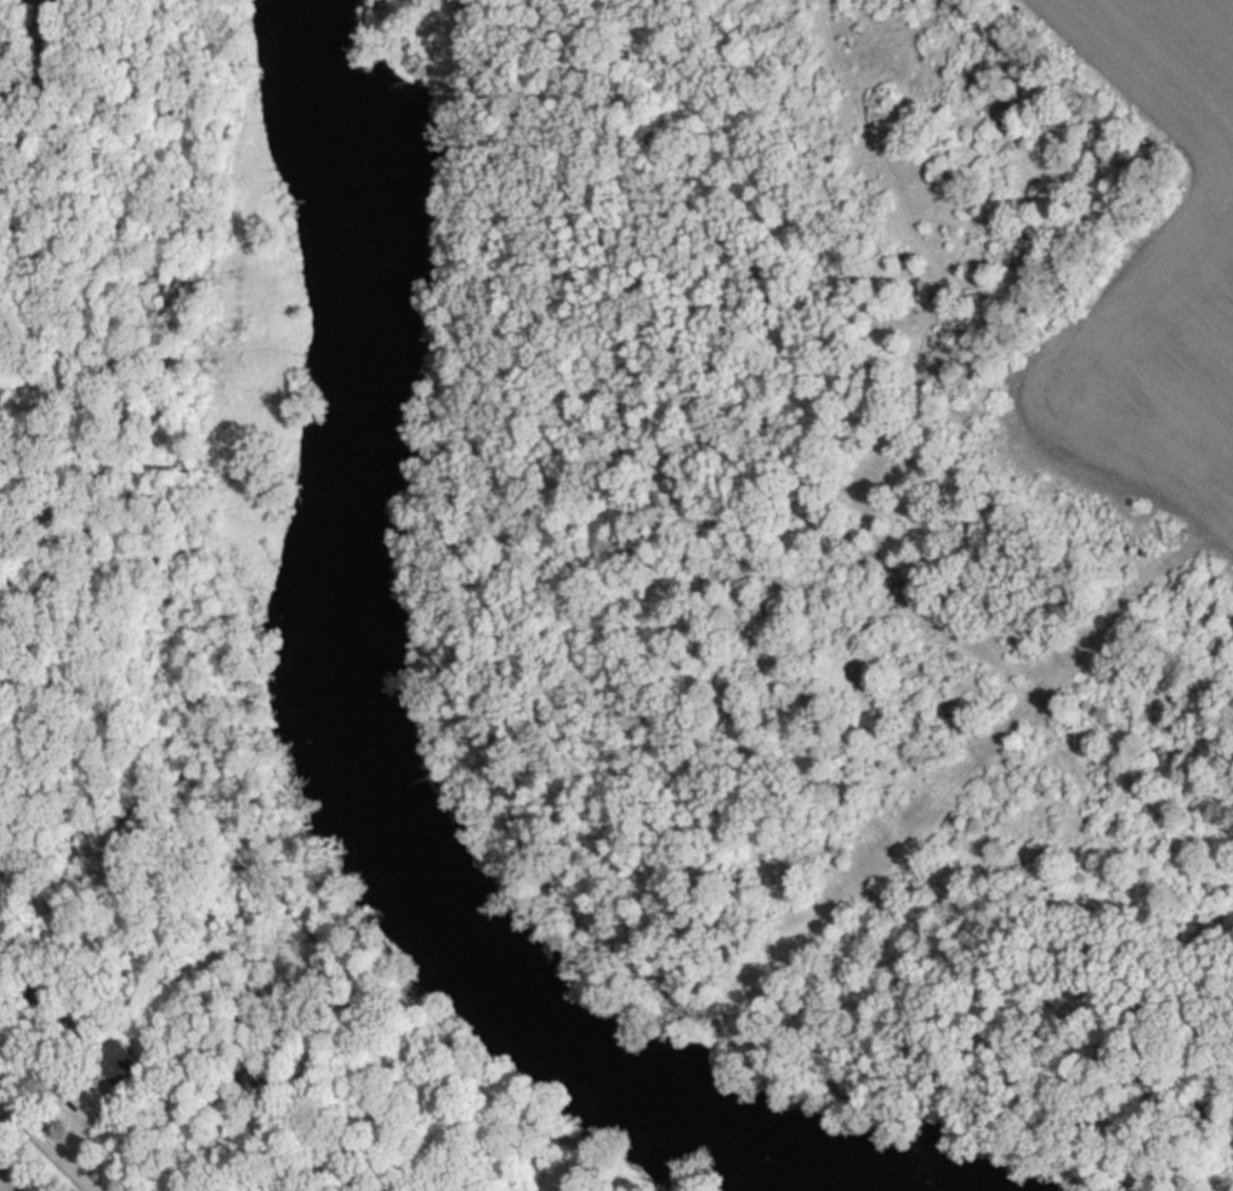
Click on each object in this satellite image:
crop: (1157, 281)
river: (347, 740)
road: (50, 1142)

